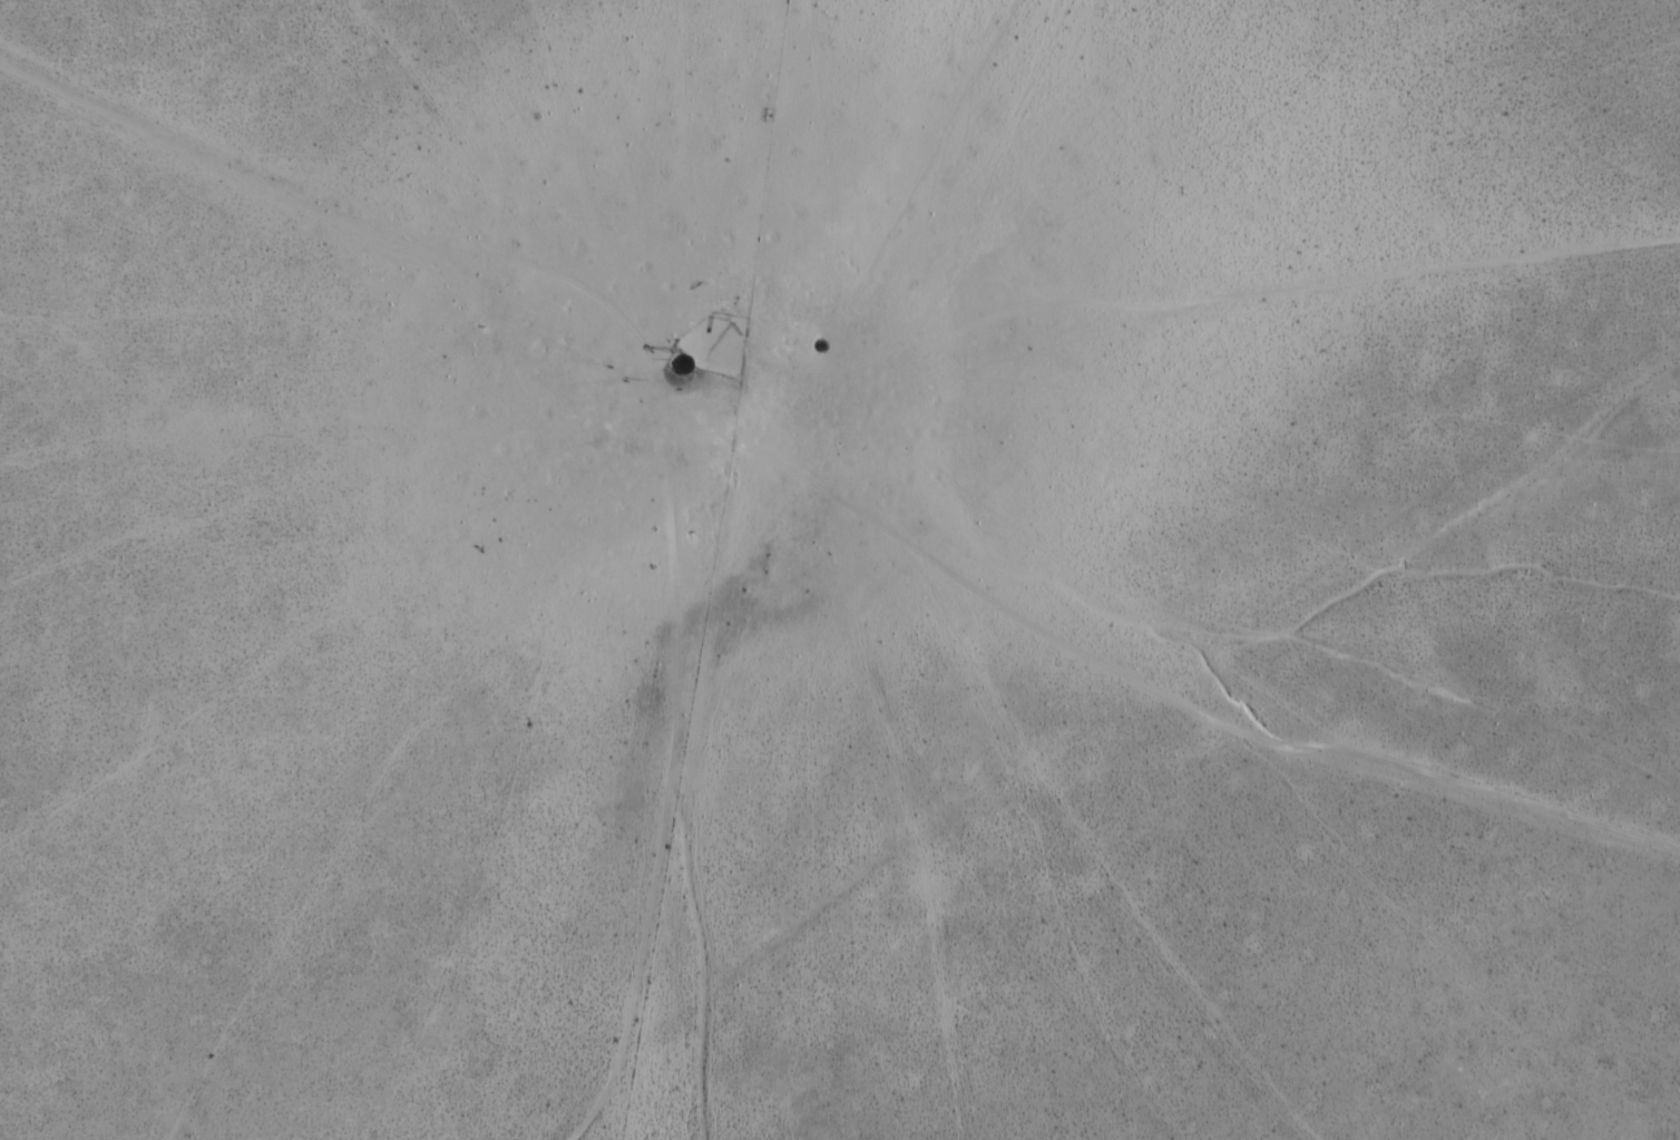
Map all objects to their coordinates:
road: (345, 222)
road: (1199, 303)
storage tank: (824, 347)
storage tank: (682, 364)
road: (1140, 684)
road: (670, 771)

